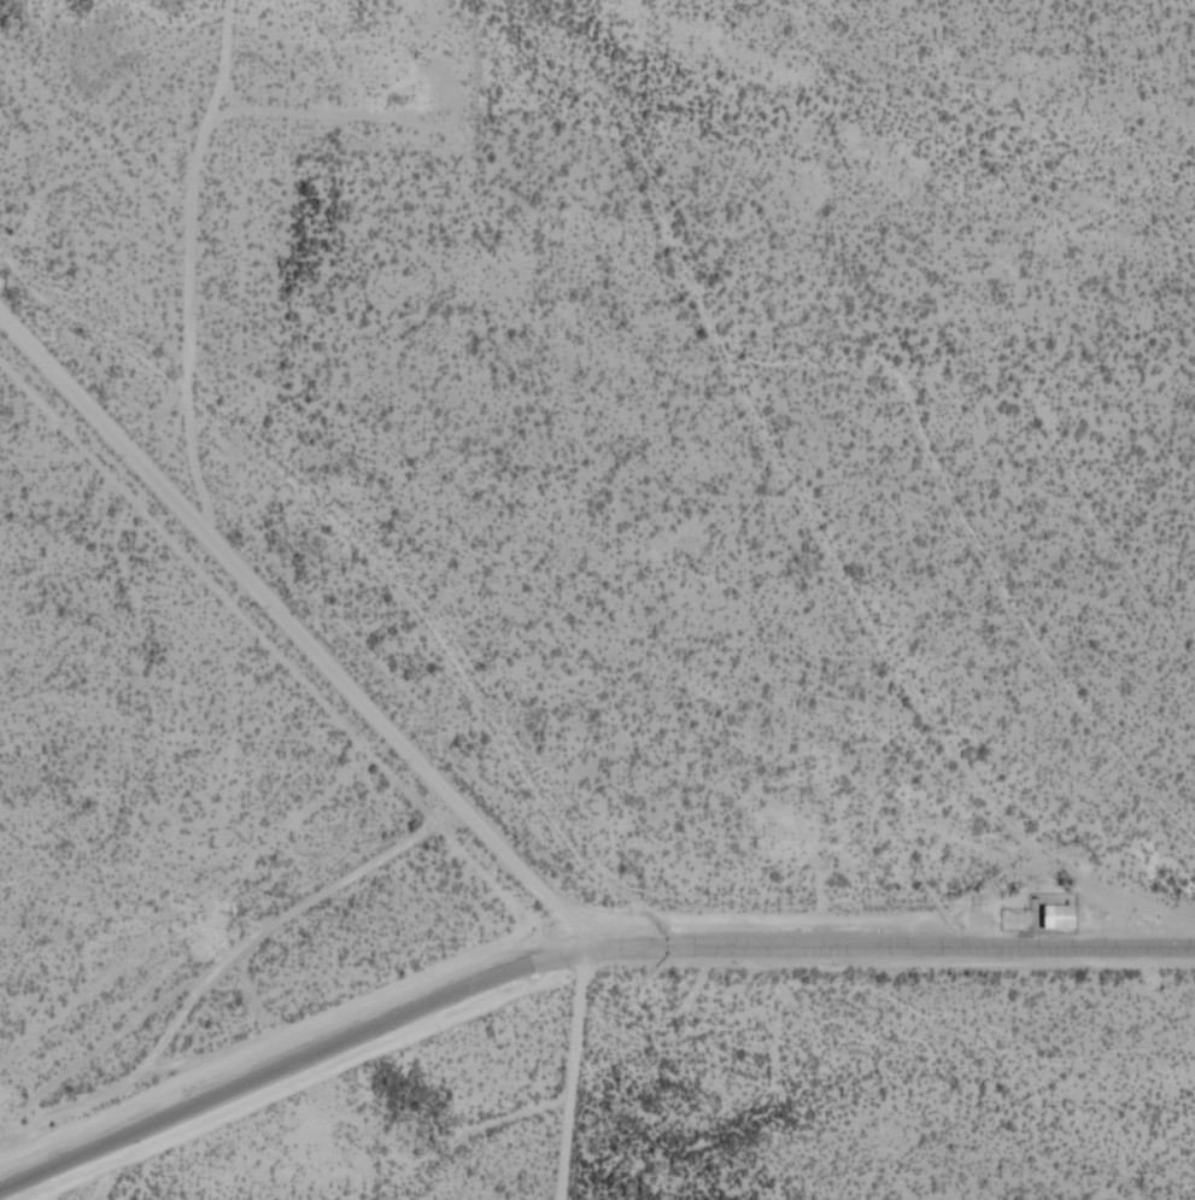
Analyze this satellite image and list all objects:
road: (494, 861)
building: (1055, 919)

